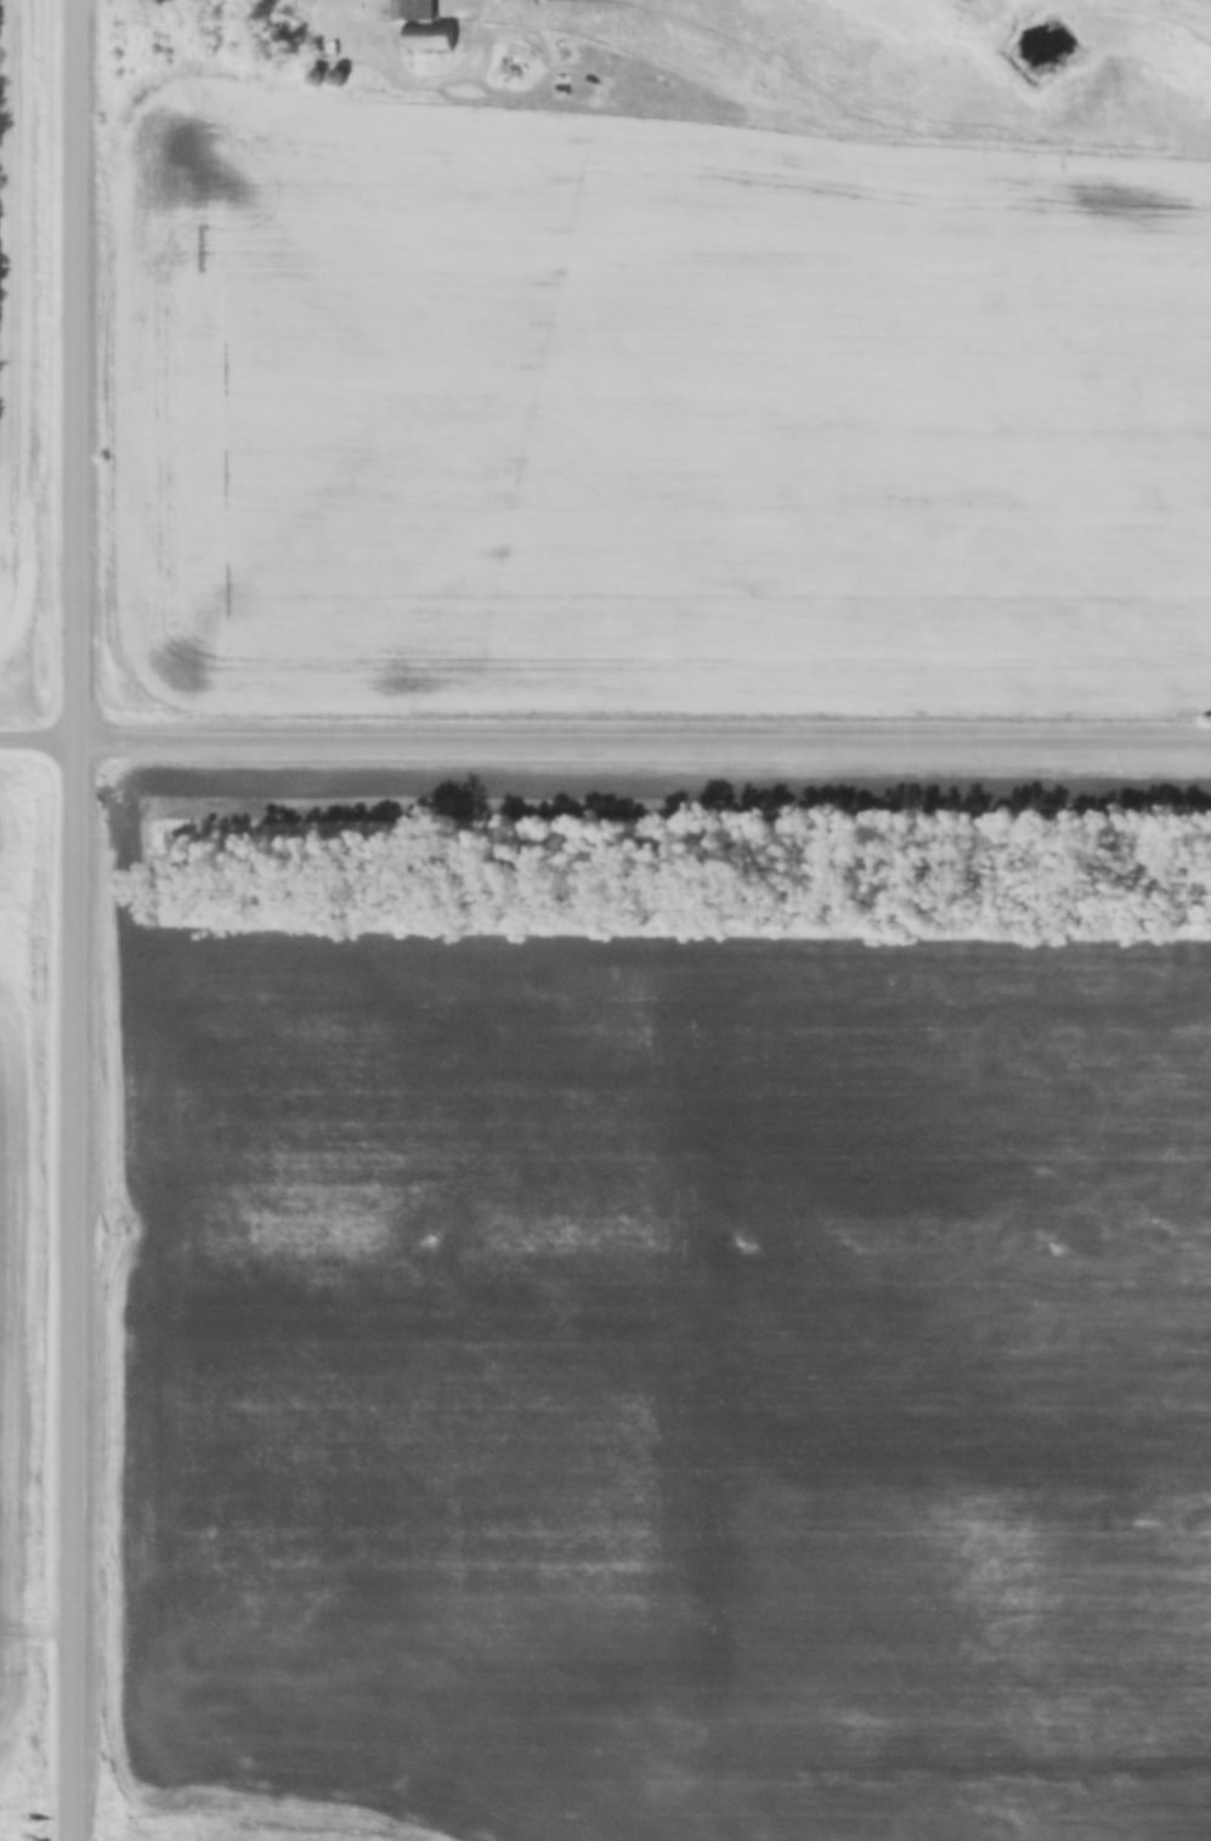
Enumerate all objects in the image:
building: (437, 36)
road: (605, 738)
road: (74, 921)

